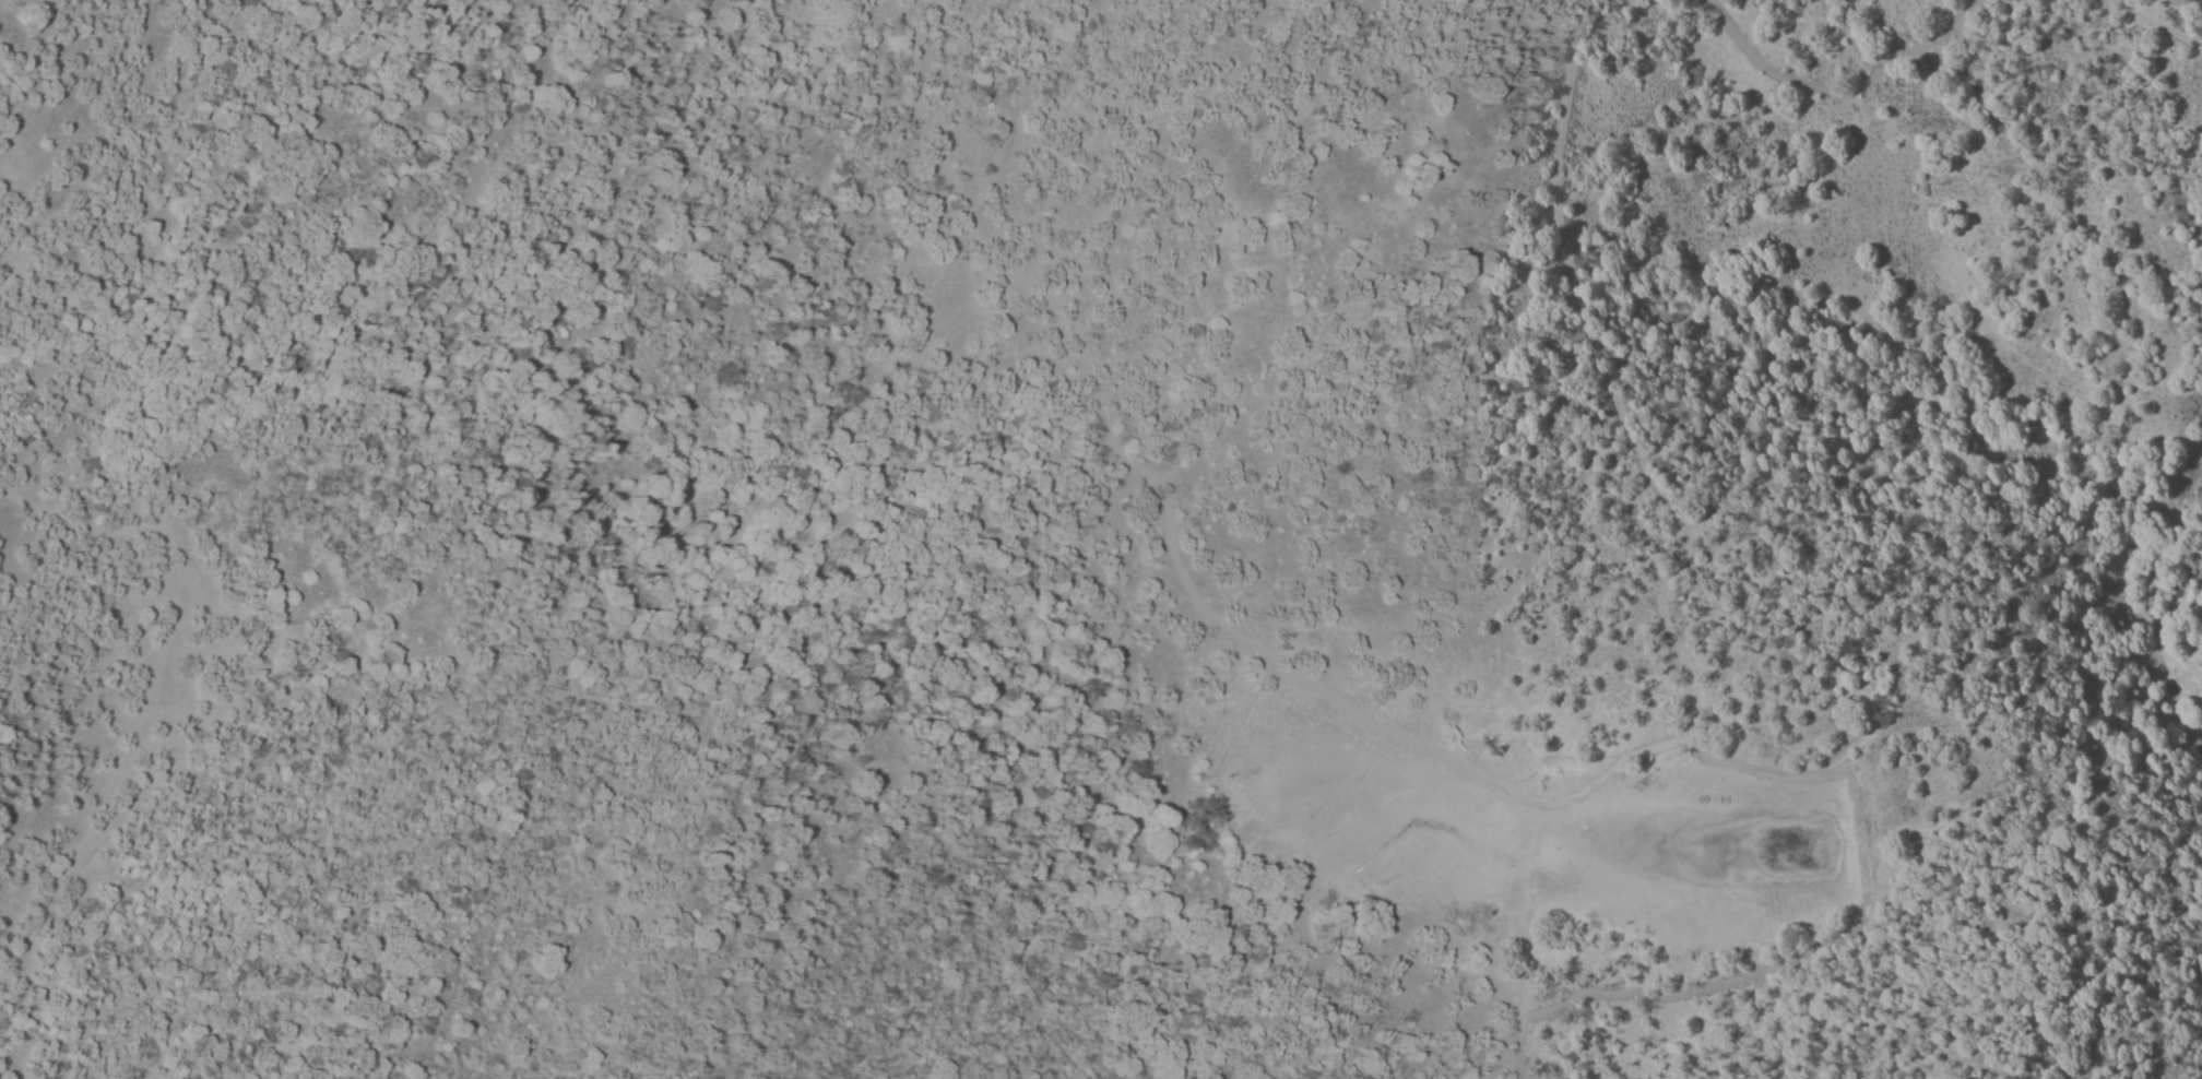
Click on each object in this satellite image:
road: (2160, 26)
road: (1836, 94)
road: (1007, 276)
road: (1654, 496)
road: (1279, 657)
road: (149, 686)
road: (1520, 995)

